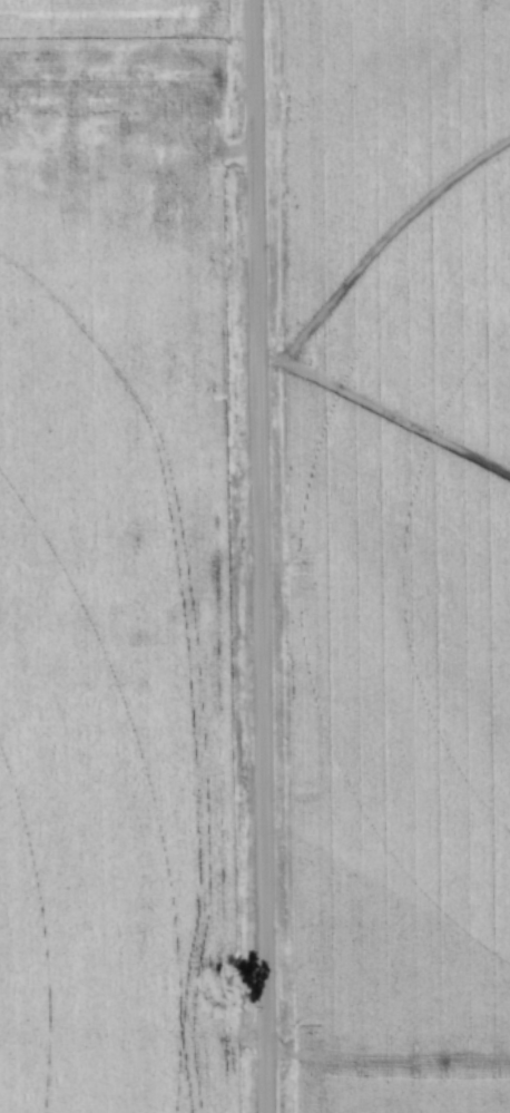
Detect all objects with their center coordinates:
road: (254, 556)

